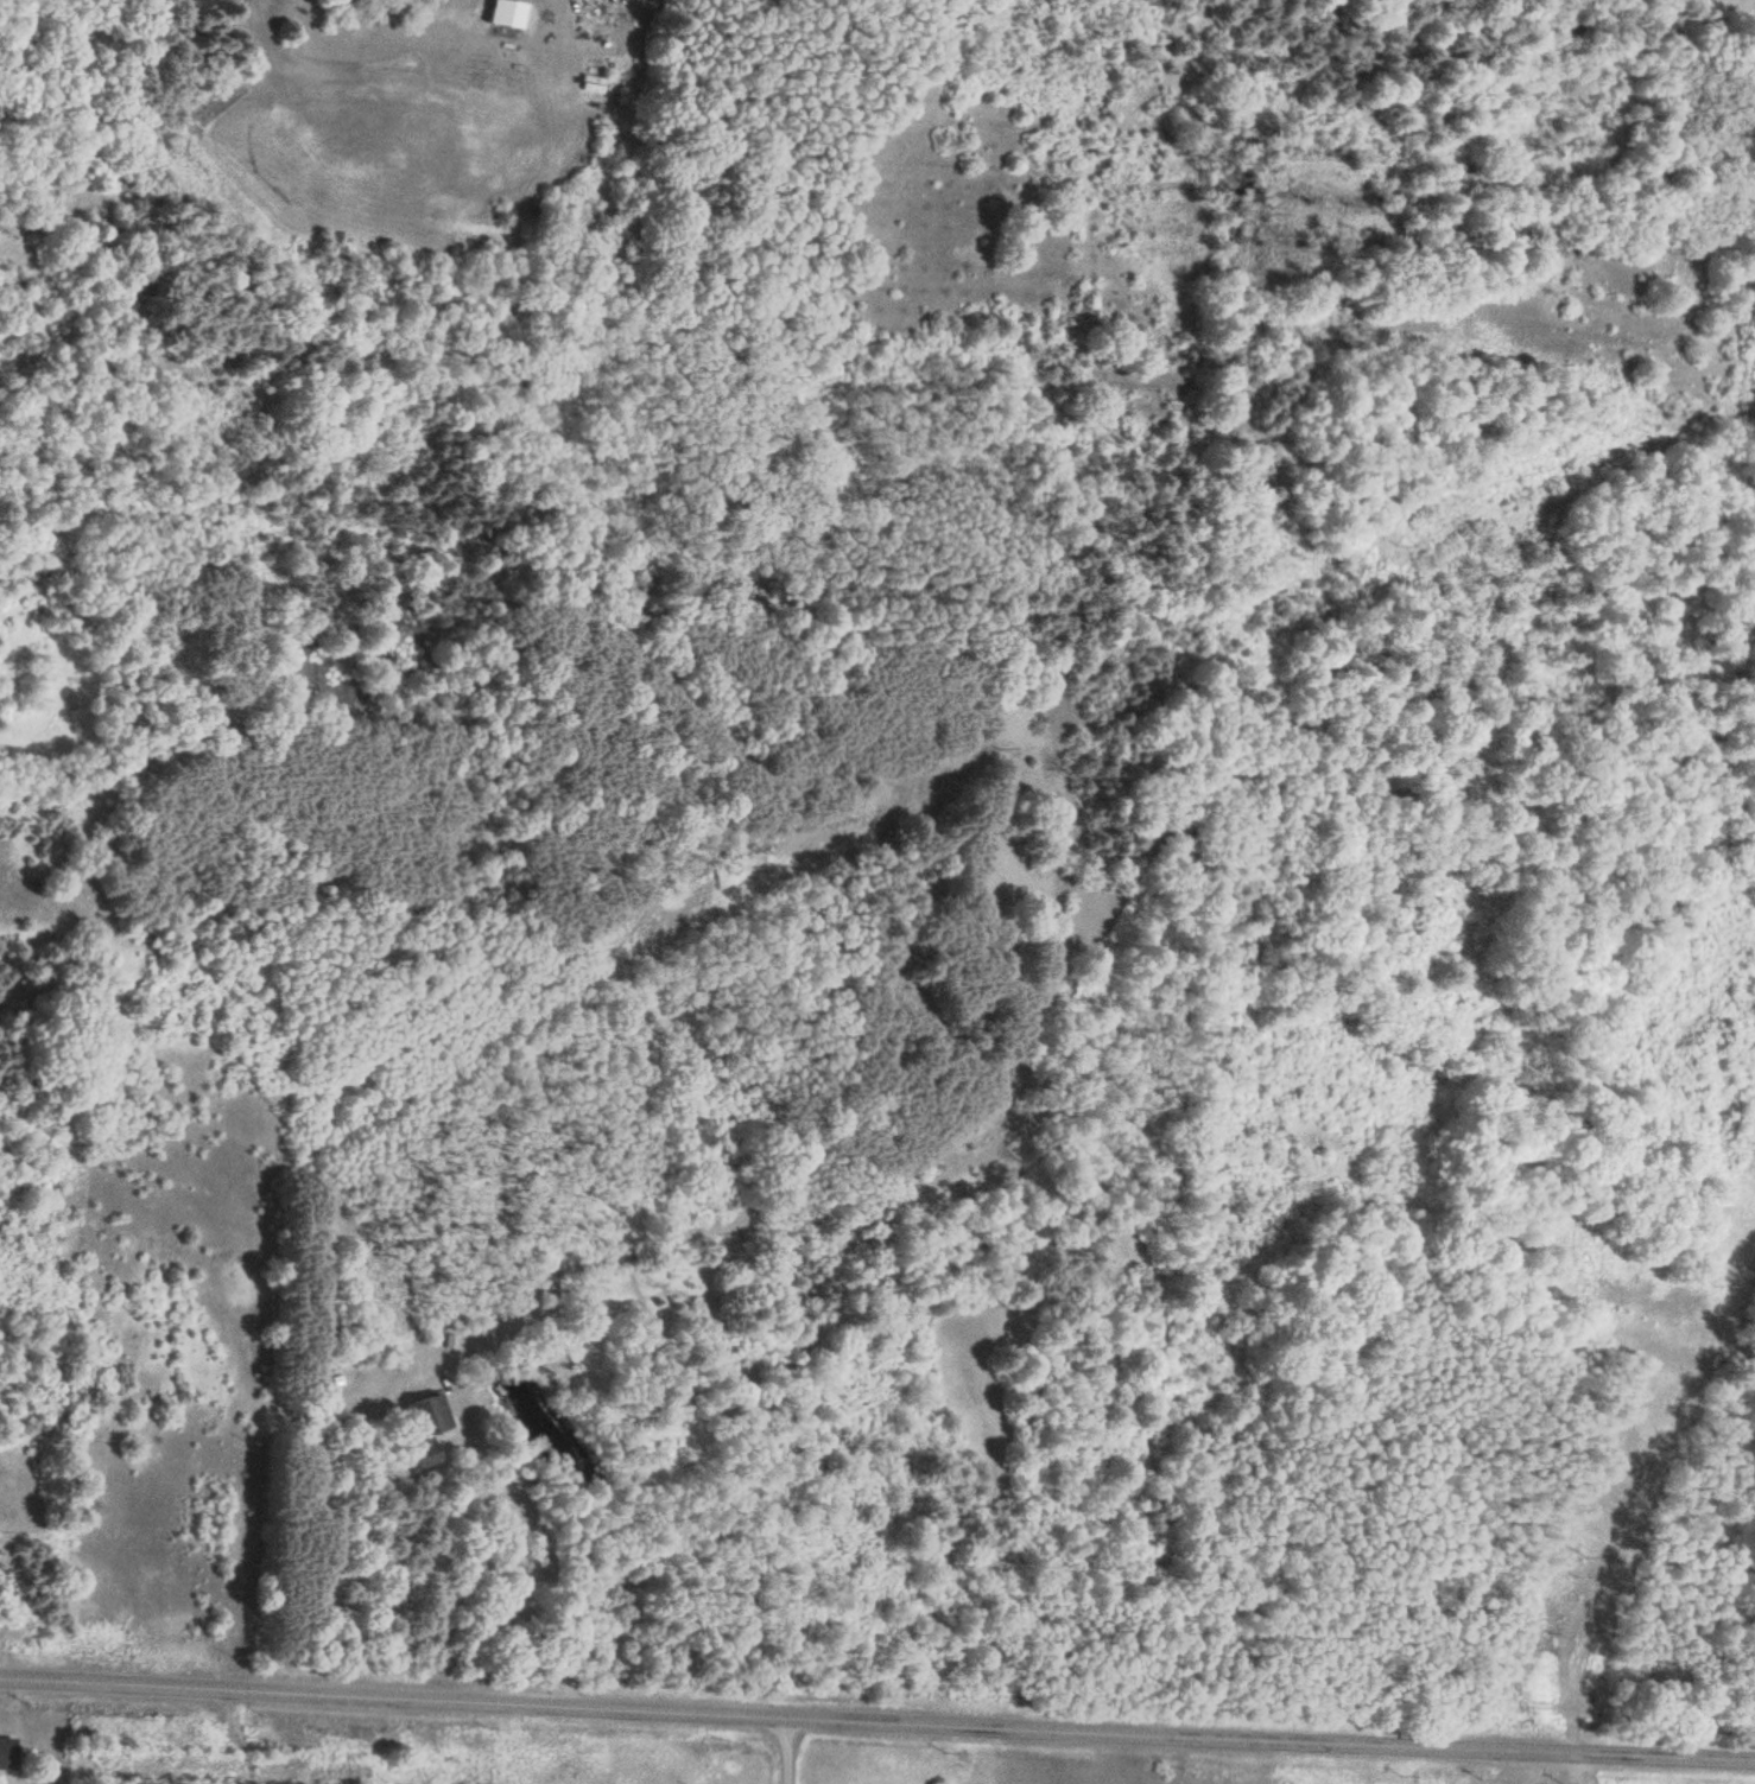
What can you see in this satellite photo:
building: (425, 1418)
road: (877, 1710)
building: (8, 1754)

